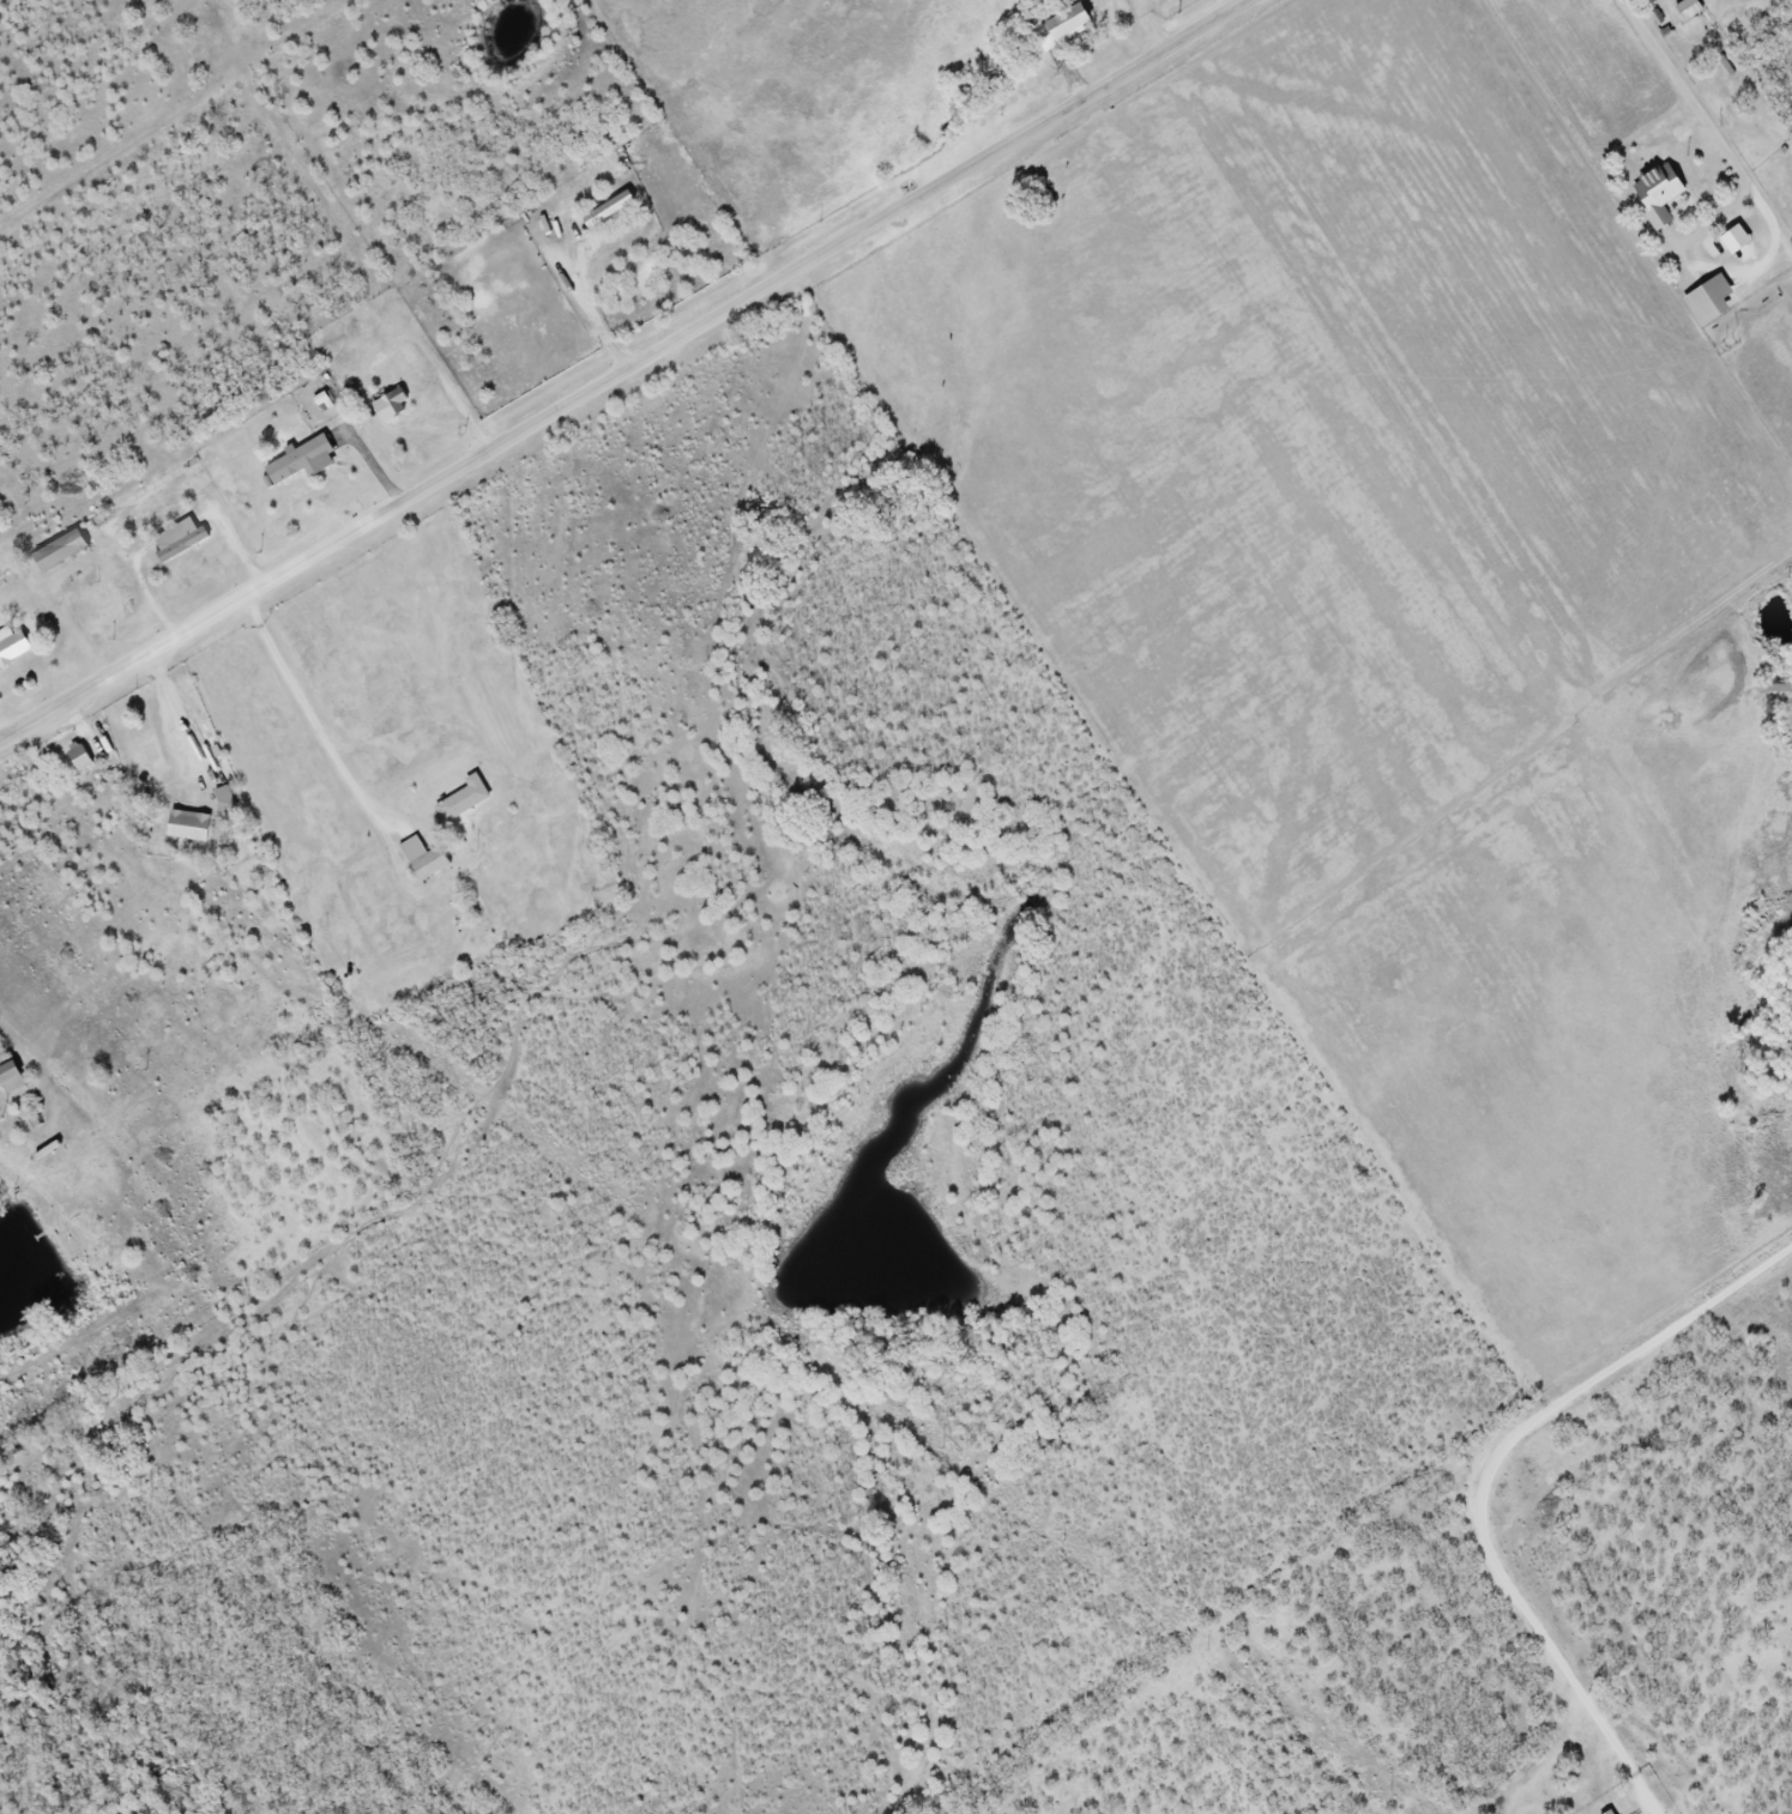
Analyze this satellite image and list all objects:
building: (1684, 10)
road: (1710, 131)
building: (1652, 195)
road: (879, 217)
building: (1703, 302)
building: (170, 536)
building: (54, 552)
road: (260, 585)
building: (11, 647)
road: (310, 715)
building: (74, 757)
building: (221, 802)
building: (185, 827)
building: (418, 860)
road: (80, 1143)
road: (0, 1156)
road: (1652, 1344)
road: (1523, 1613)
road: (1646, 1795)
building: (1606, 1812)

